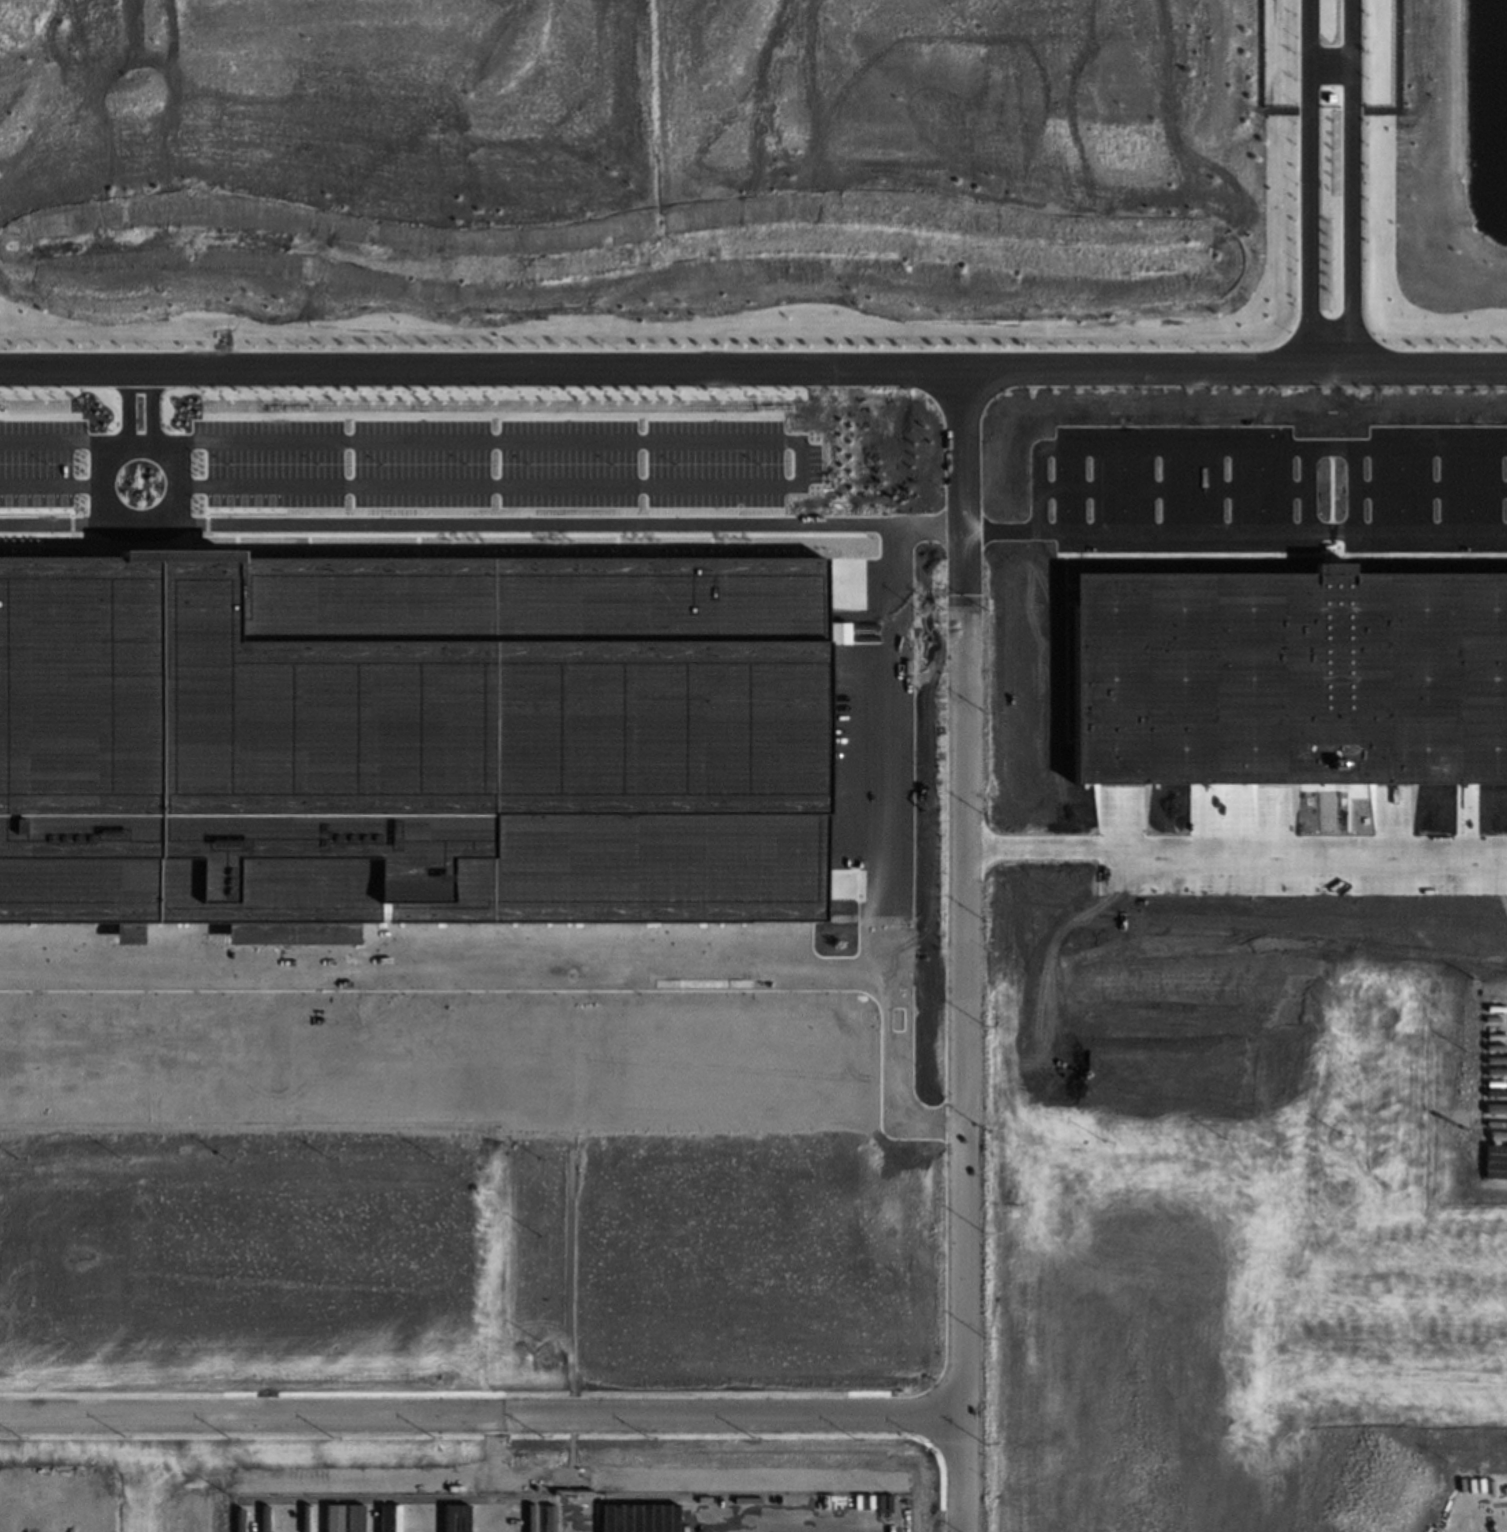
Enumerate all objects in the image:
road: (1331, 65)
road: (1310, 184)
road: (1352, 184)
road: (753, 369)
road: (129, 410)
road: (153, 411)
road: (61, 441)
road: (1233, 449)
road: (799, 455)
parking lot: (38, 461)
parking lot: (503, 462)
road: (51, 484)
road: (137, 520)
road: (64, 524)
road: (828, 524)
building: (834, 632)
building: (1289, 677)
building: (407, 741)
road: (894, 750)
road: (1234, 845)
road: (1501, 865)
road: (961, 950)
road: (547, 972)
building: (1494, 1159)
road: (480, 1415)
building: (638, 1517)

